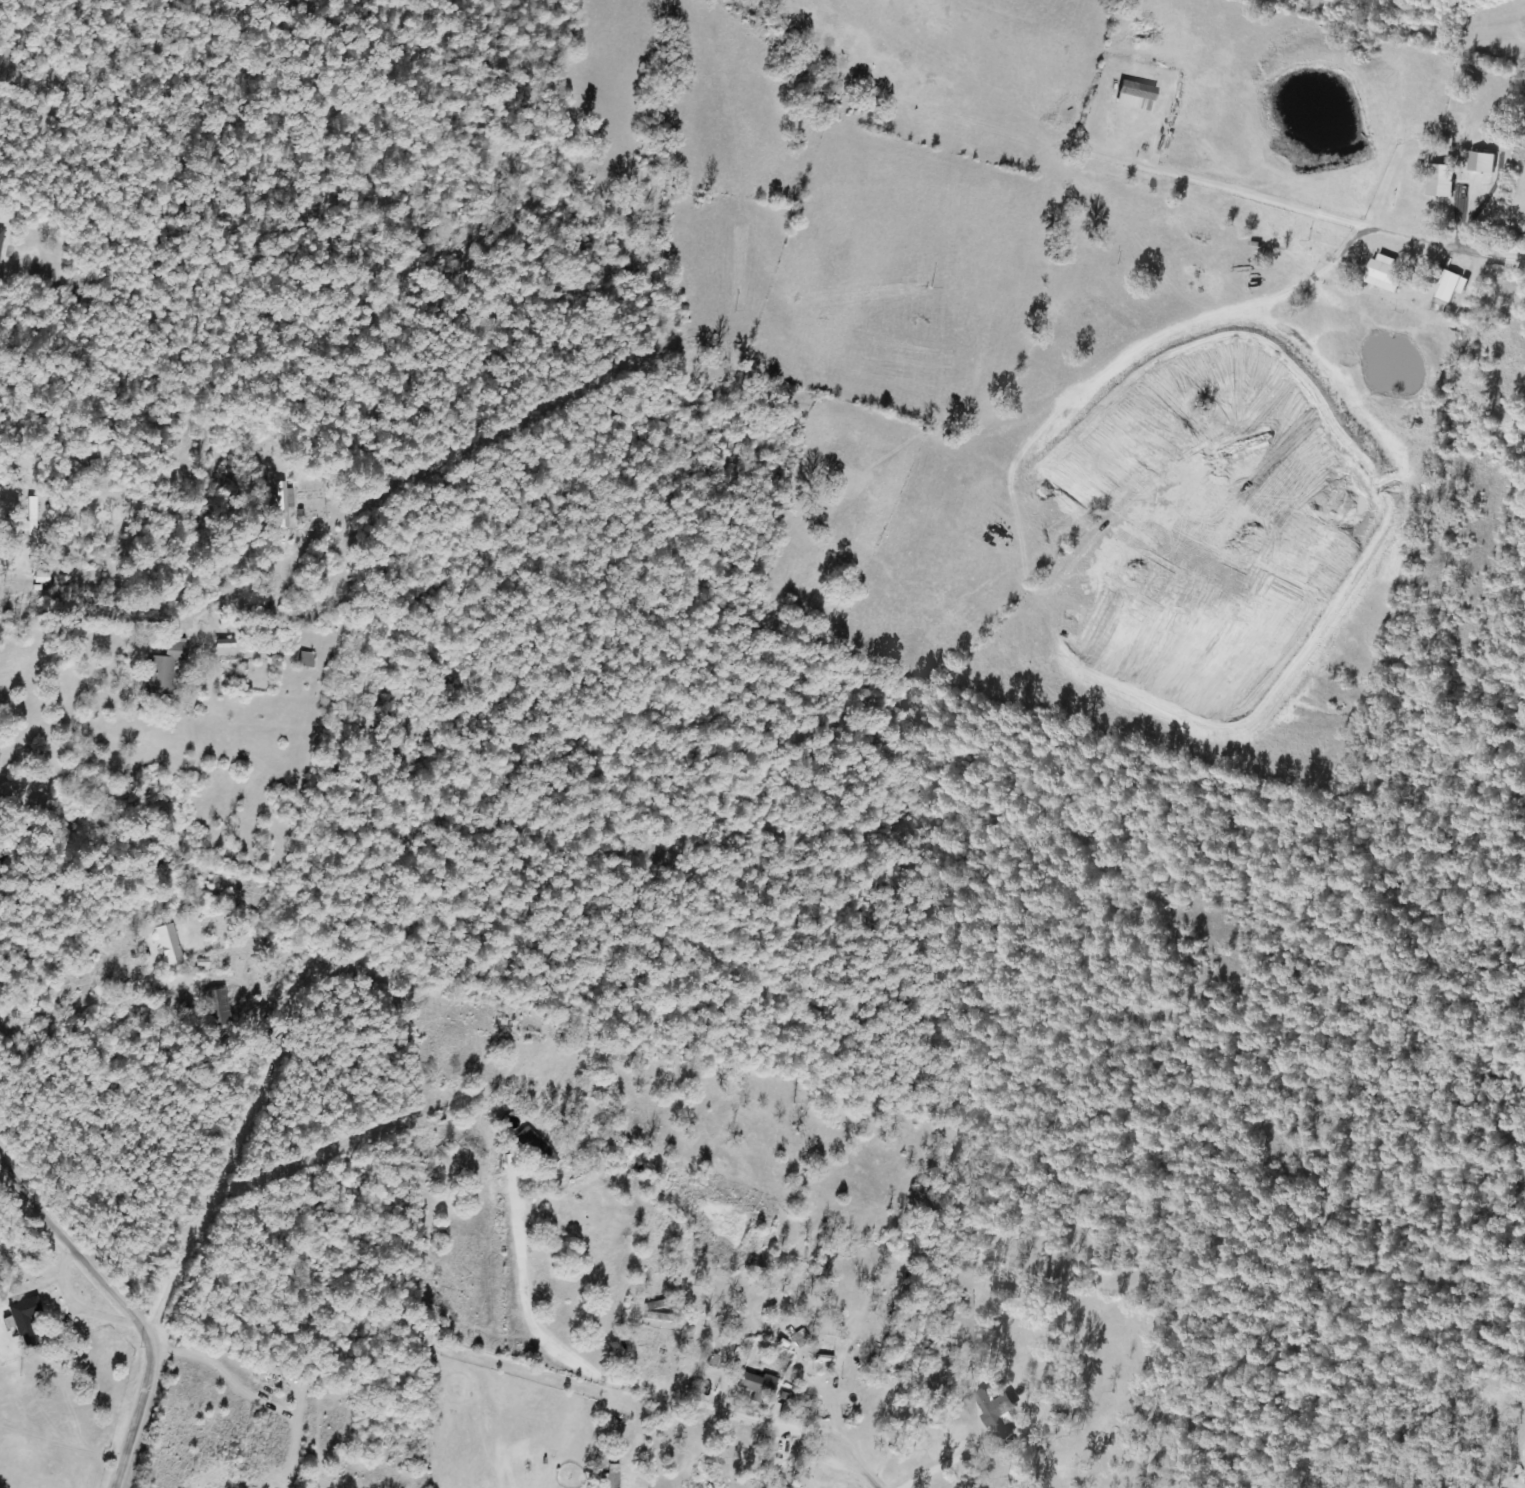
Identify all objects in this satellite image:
building: (1135, 89)
building: (1, 235)
road: (1486, 252)
building: (281, 505)
building: (30, 520)
building: (38, 577)
road: (39, 584)
building: (304, 659)
building: (161, 669)
building: (167, 942)
building: (214, 1007)
building: (534, 1148)
road: (122, 1304)
building: (656, 1311)
building: (24, 1320)
road: (653, 1390)
building: (995, 1413)
road: (970, 1452)
building: (1523, 1465)
building: (608, 1477)

